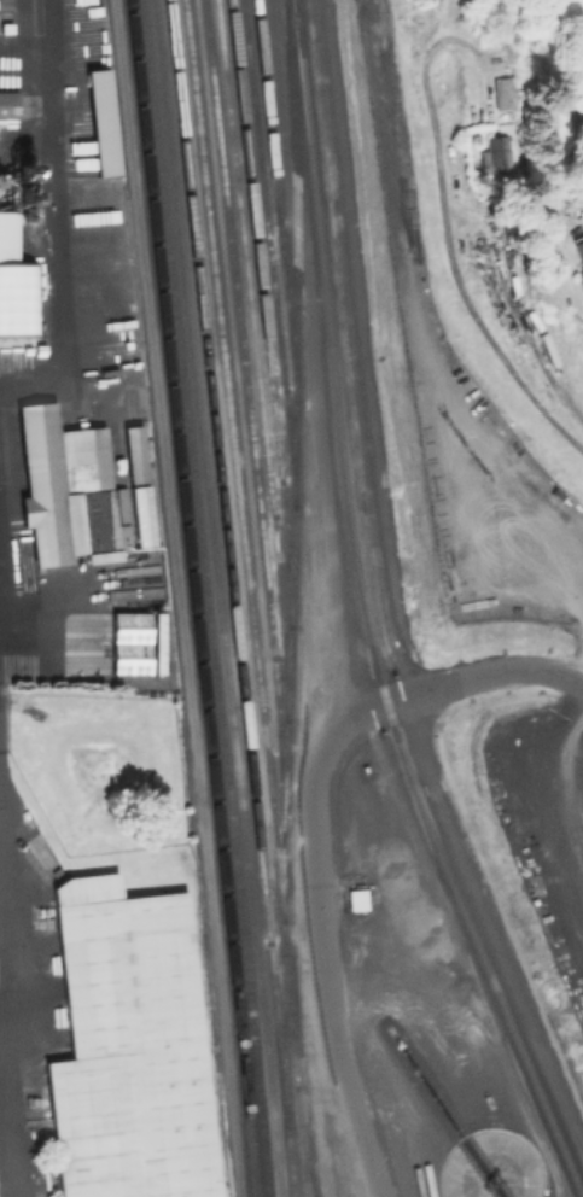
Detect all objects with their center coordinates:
road: (51, 28)
building: (503, 92)
building: (7, 104)
building: (100, 124)
building: (495, 153)
railway: (276, 199)
railway: (148, 203)
road: (54, 222)
building: (7, 238)
railway: (295, 250)
building: (577, 255)
building: (19, 300)
railway: (262, 311)
road: (485, 338)
railway: (253, 356)
road: (313, 357)
railway: (246, 405)
building: (135, 450)
railway: (290, 457)
building: (66, 487)
building: (121, 502)
building: (141, 513)
railway: (205, 597)
railway: (216, 597)
railway: (232, 597)
railway: (249, 597)
road: (176, 598)
railway: (363, 615)
building: (134, 642)
road: (514, 673)
railway: (212, 800)
road: (315, 904)
road: (4, 1011)
railway: (284, 1039)
building: (127, 1047)
railway: (424, 1081)
railway: (490, 1127)
railway: (303, 1141)

